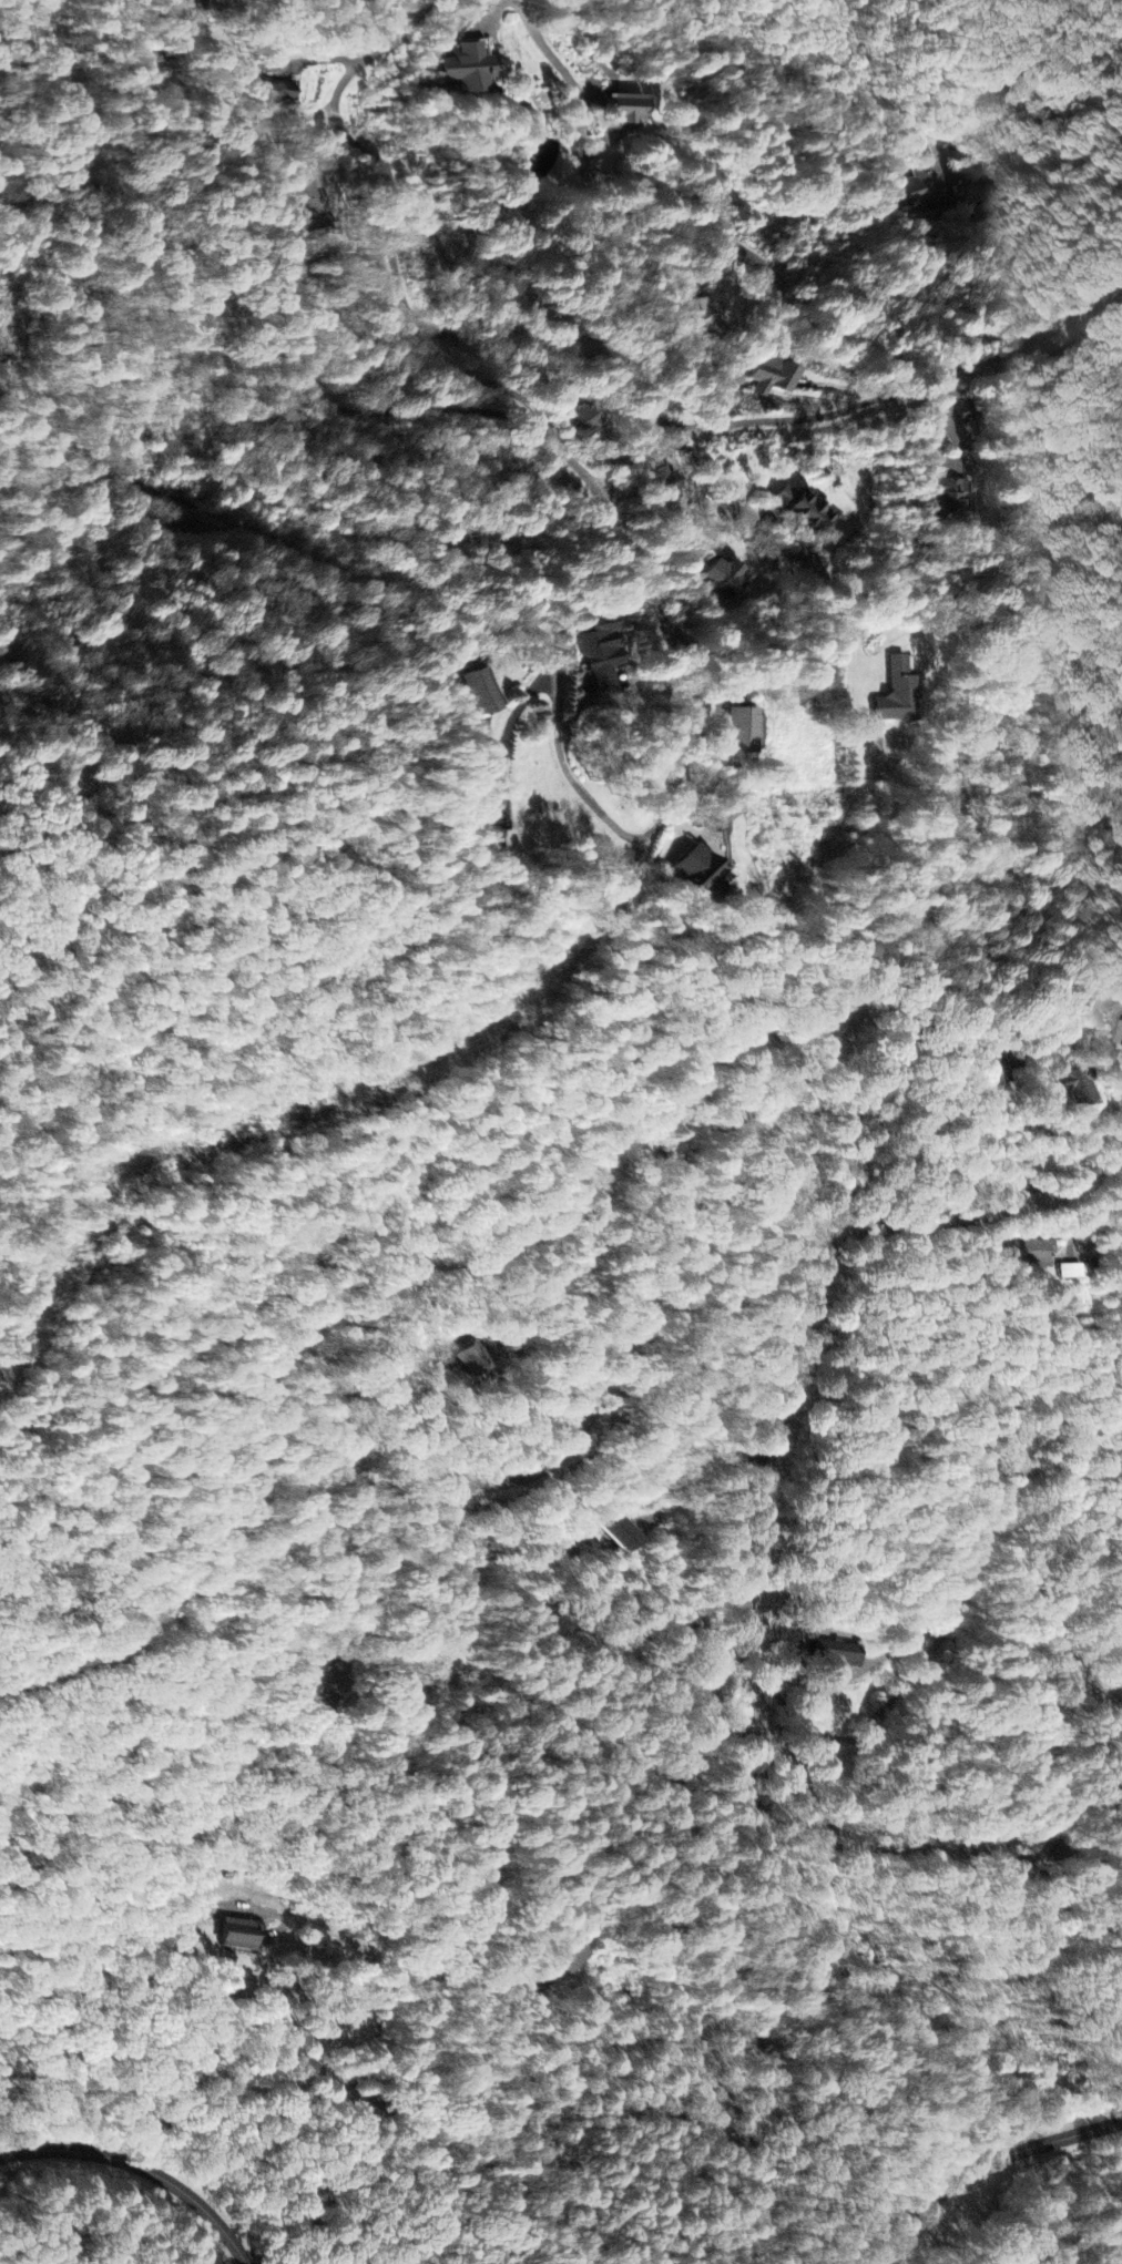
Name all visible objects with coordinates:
building: (470, 69)
road: (886, 99)
building: (624, 110)
road: (140, 156)
road: (361, 159)
building: (925, 185)
road: (639, 231)
building: (775, 378)
road: (767, 419)
building: (949, 497)
road: (738, 503)
building: (805, 508)
road: (854, 610)
building: (602, 654)
building: (899, 693)
building: (742, 732)
road: (569, 762)
building: (697, 875)
building: (1075, 1088)
road: (742, 1106)
road: (973, 1129)
building: (1040, 1254)
building: (623, 1533)
road: (1080, 1650)
building: (834, 1654)
road: (693, 1721)
road: (929, 1850)
building: (235, 1936)
building: (569, 1959)
road: (143, 2165)
road: (985, 2165)

